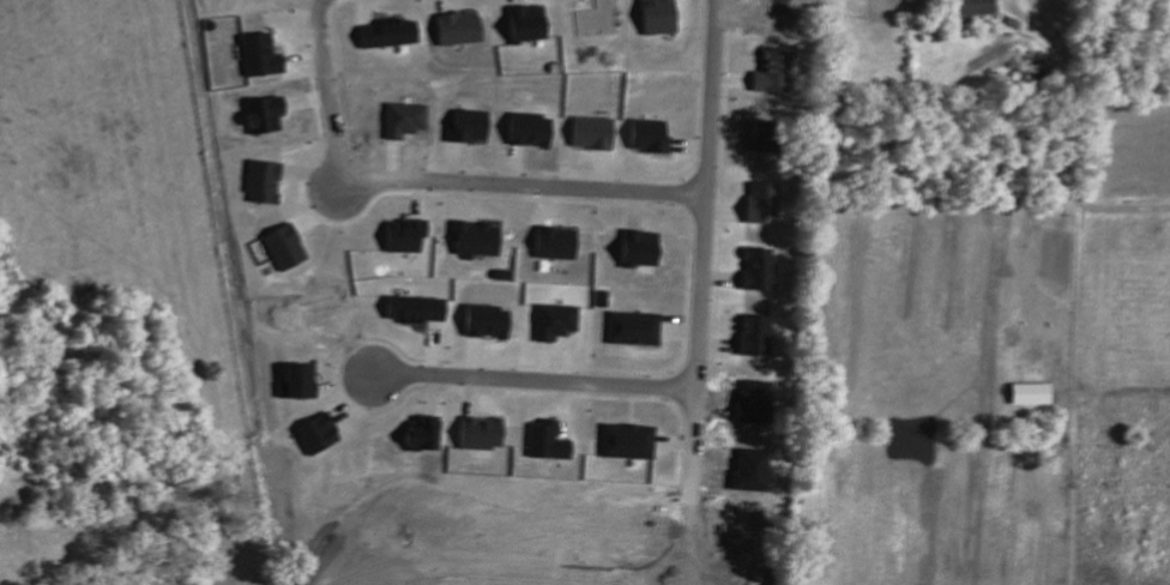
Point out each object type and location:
building: (911, 5)
building: (975, 7)
building: (655, 16)
building: (456, 28)
building: (767, 71)
building: (469, 125)
building: (526, 128)
road: (433, 183)
building: (403, 236)
building: (474, 239)
road: (700, 240)
building: (554, 243)
road: (234, 292)
road: (530, 376)
building: (1029, 393)
building: (314, 433)
building: (418, 435)

